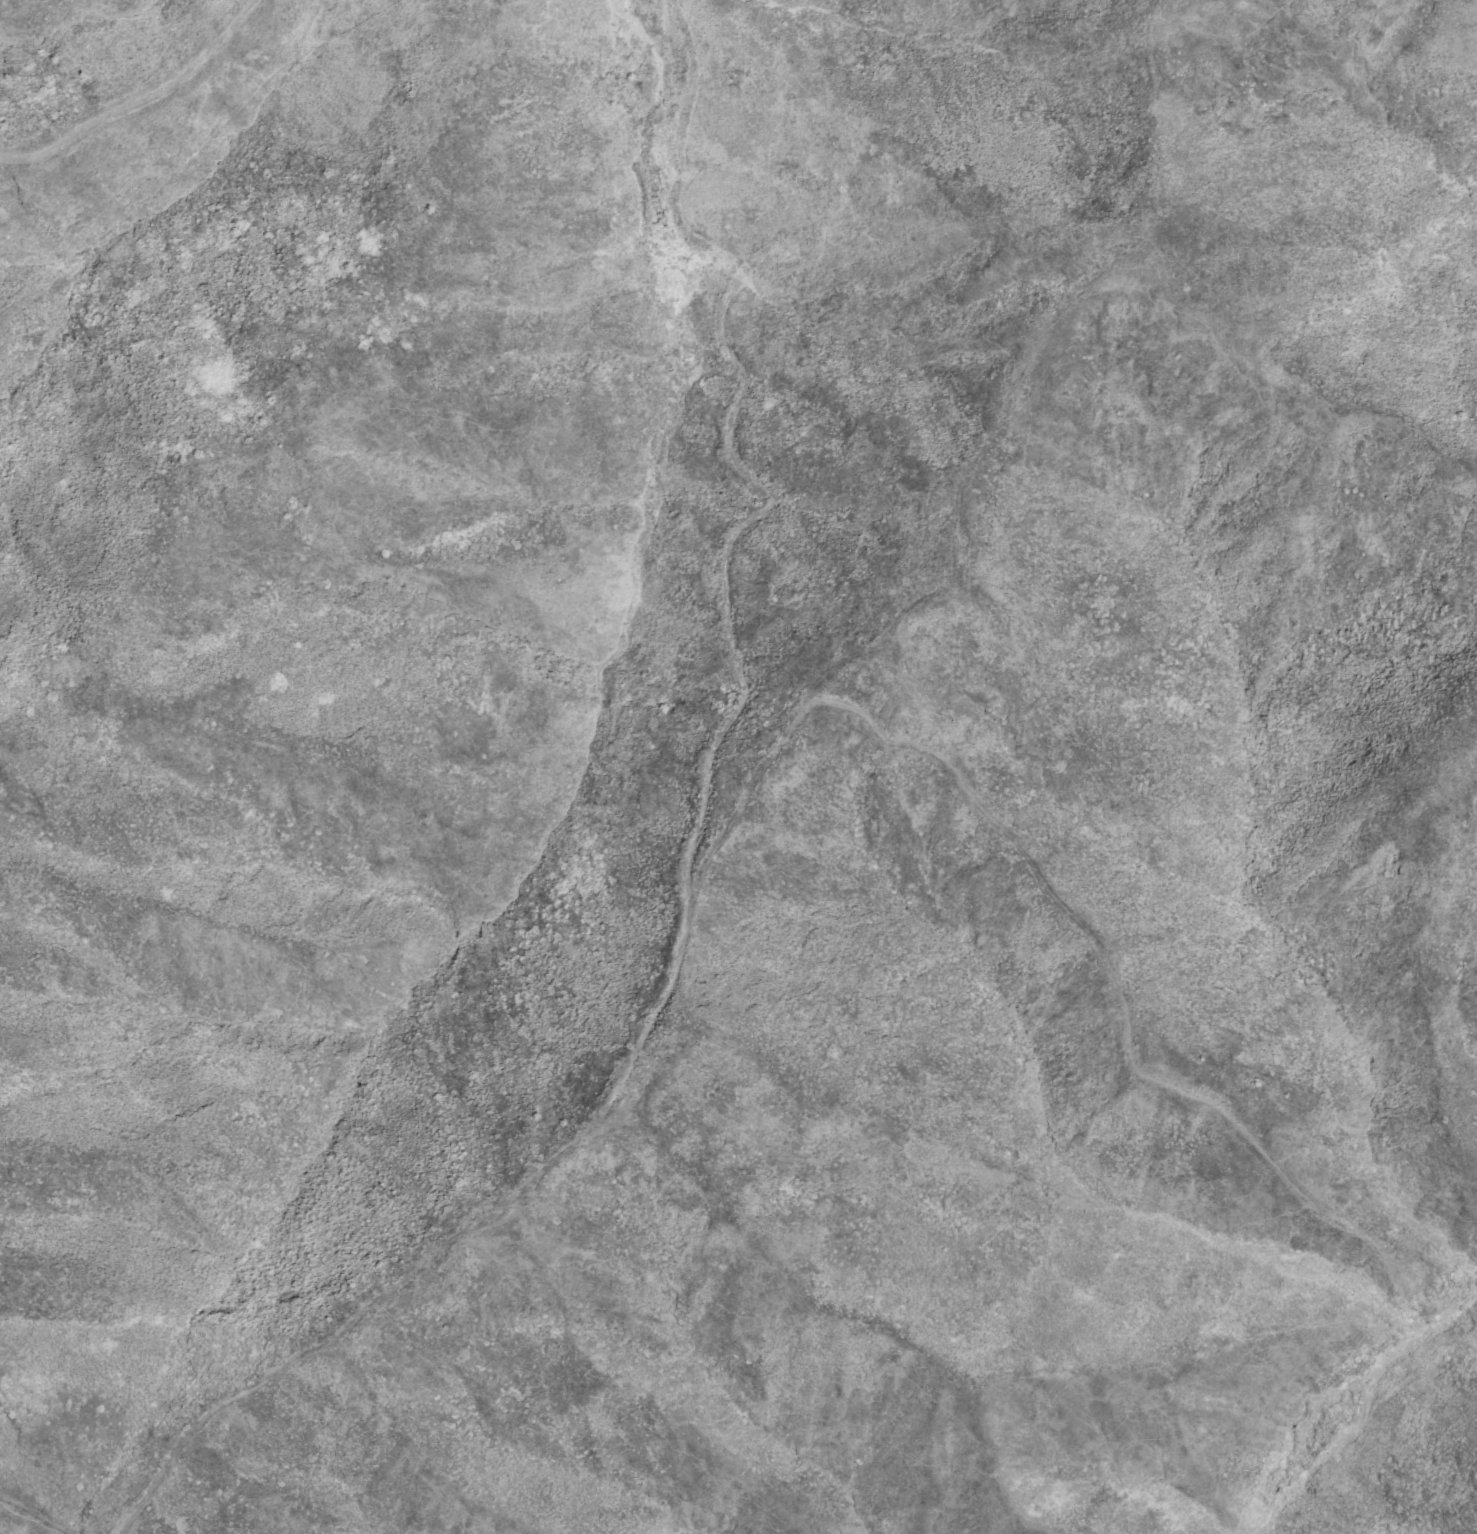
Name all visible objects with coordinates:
road: (134, 91)

